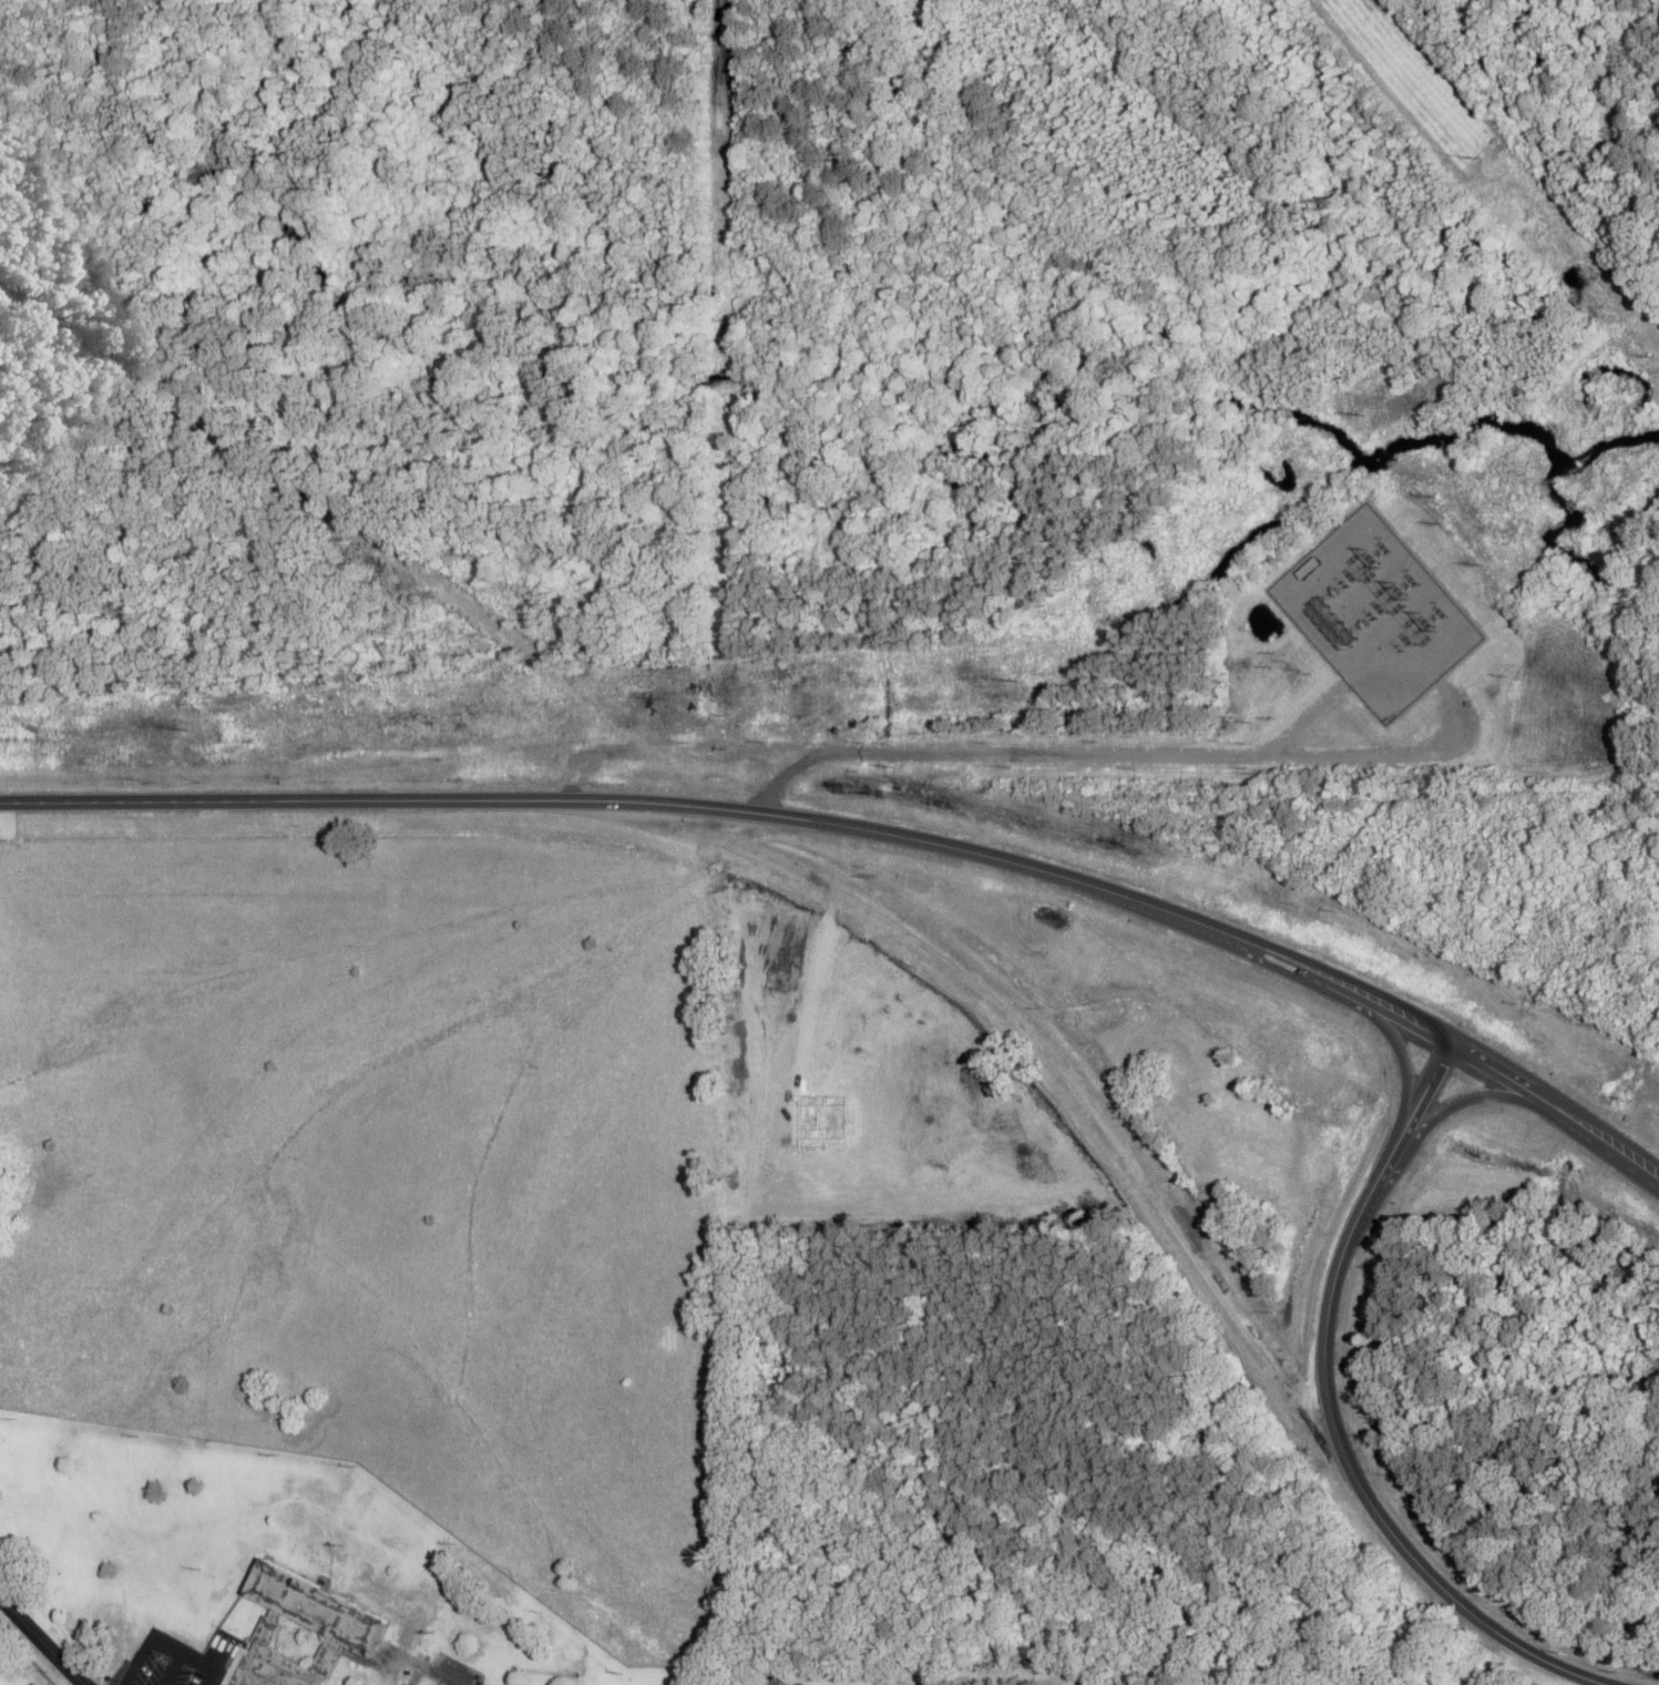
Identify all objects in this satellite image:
power tower: (1477, 160)
power tower: (1652, 357)
river: (693, 397)
river: (1529, 427)
power tower: (1445, 524)
power tower: (1483, 566)
power substation: (1376, 615)
road: (1086, 754)
road: (868, 826)
road: (1400, 1051)
road: (1468, 1101)
road: (1333, 1417)
building: (304, 1631)
road: (42, 1640)
road: (440, 1675)

